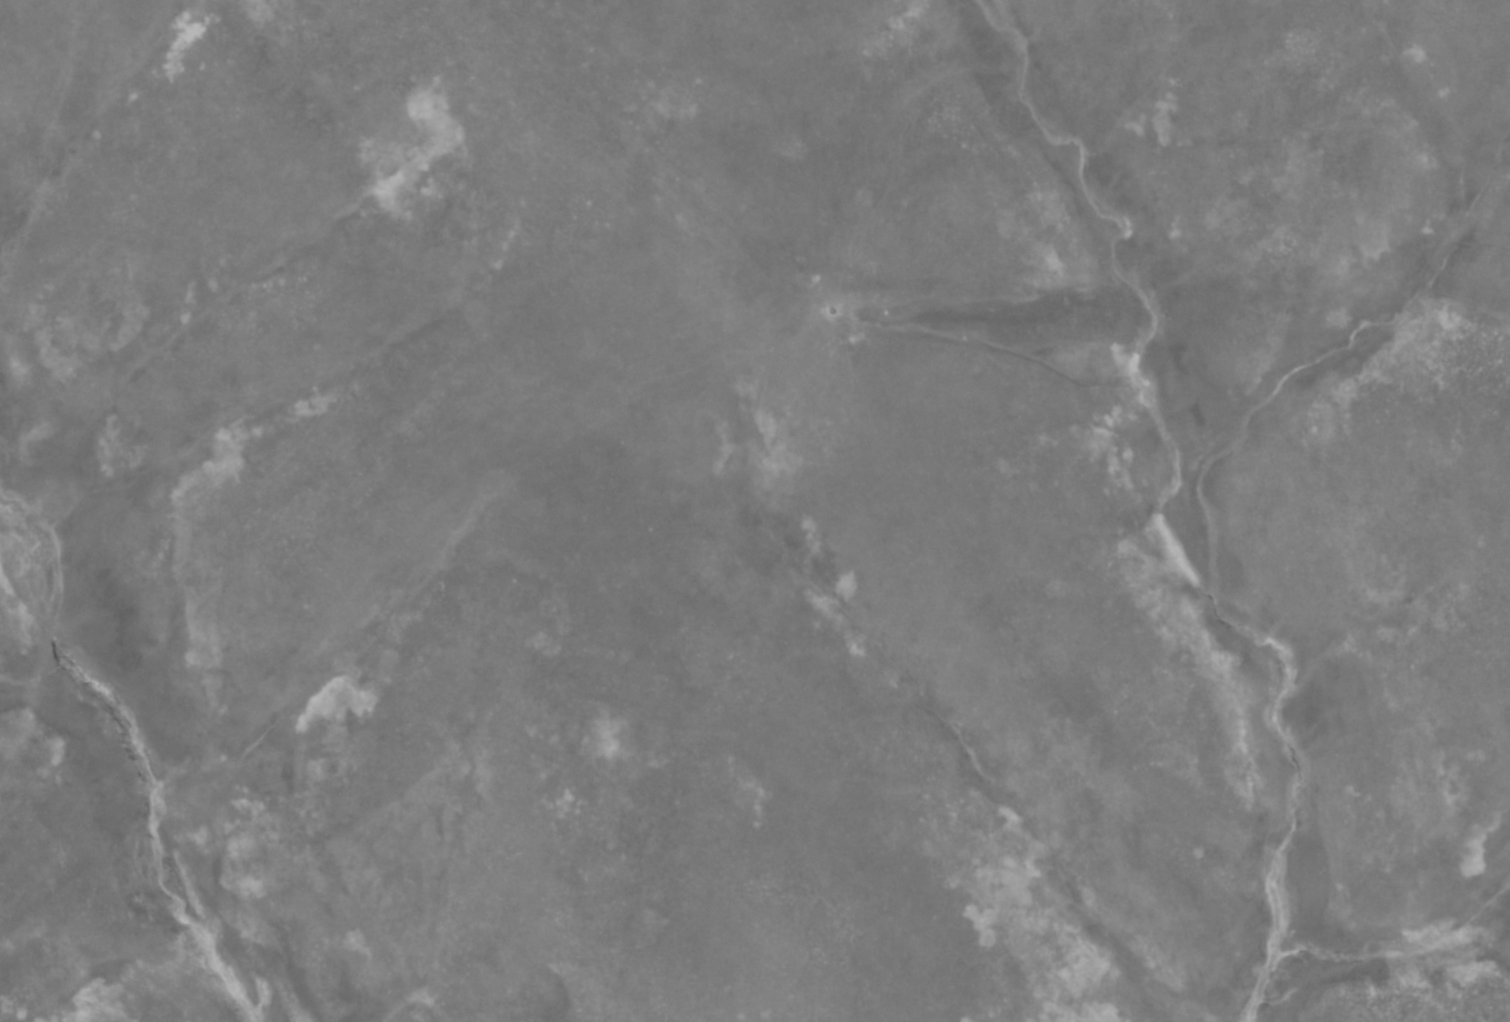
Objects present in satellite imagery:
road: (564, 367)

